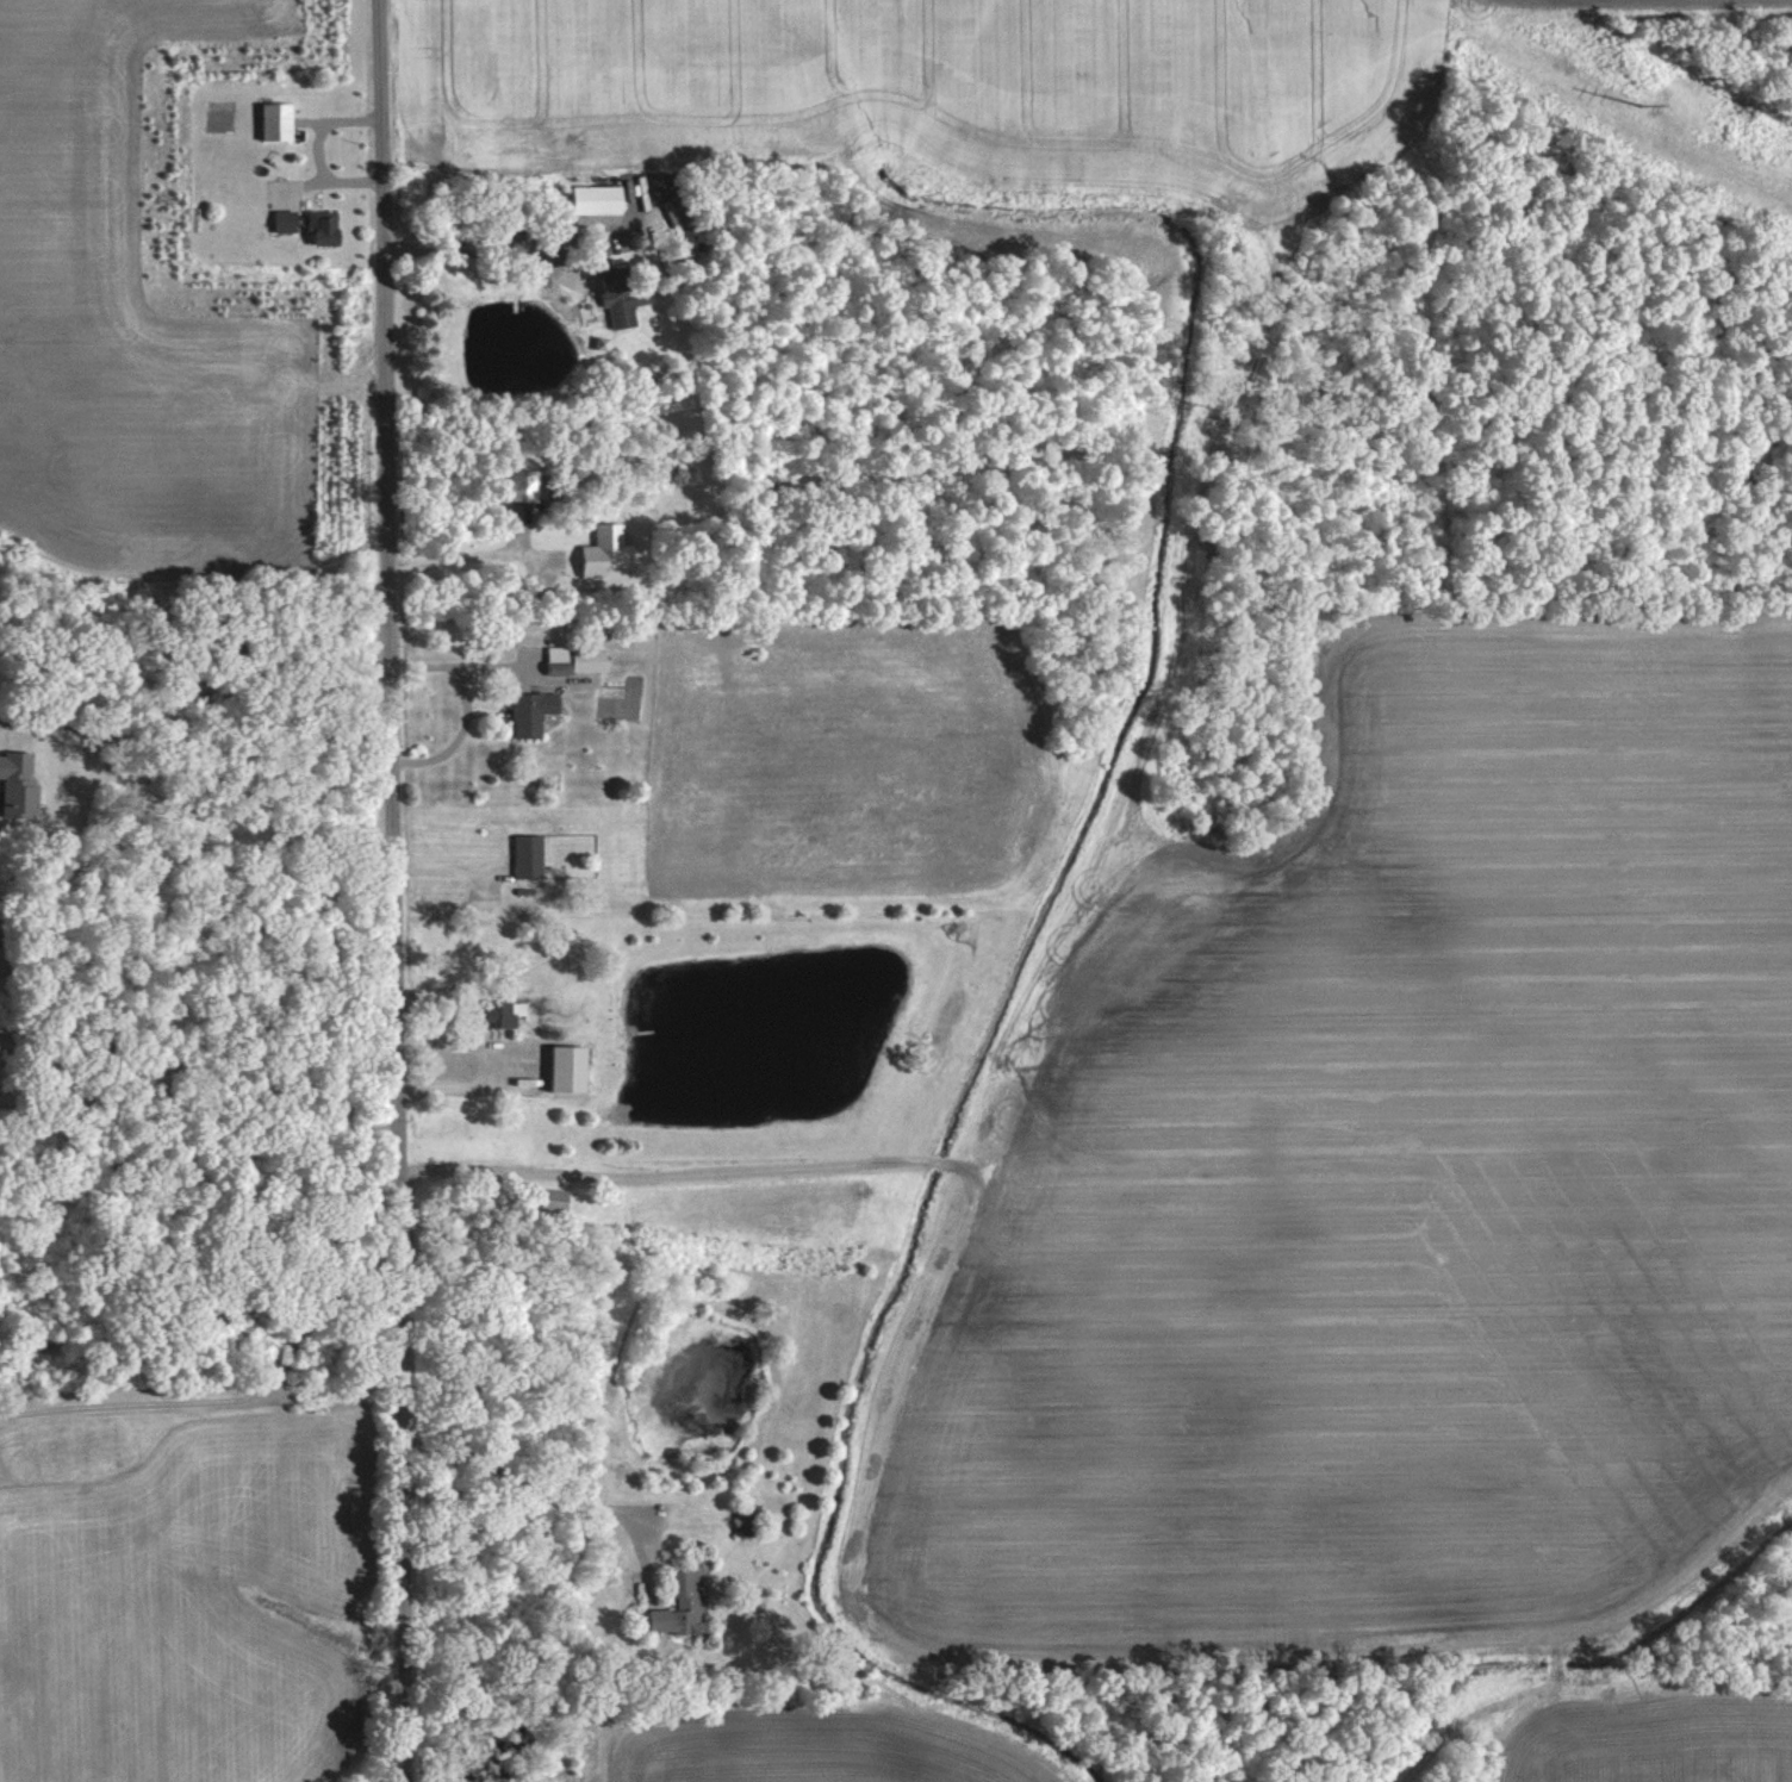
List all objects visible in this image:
power tower: (1636, 96)
building: (266, 120)
road: (316, 150)
building: (585, 199)
building: (279, 220)
building: (315, 228)
road: (478, 250)
building: (593, 549)
road: (465, 560)
road: (462, 658)
road: (455, 733)
building: (12, 778)
road: (197, 808)
road: (388, 890)
road: (209, 1061)
road: (552, 1483)
building: (666, 1612)

